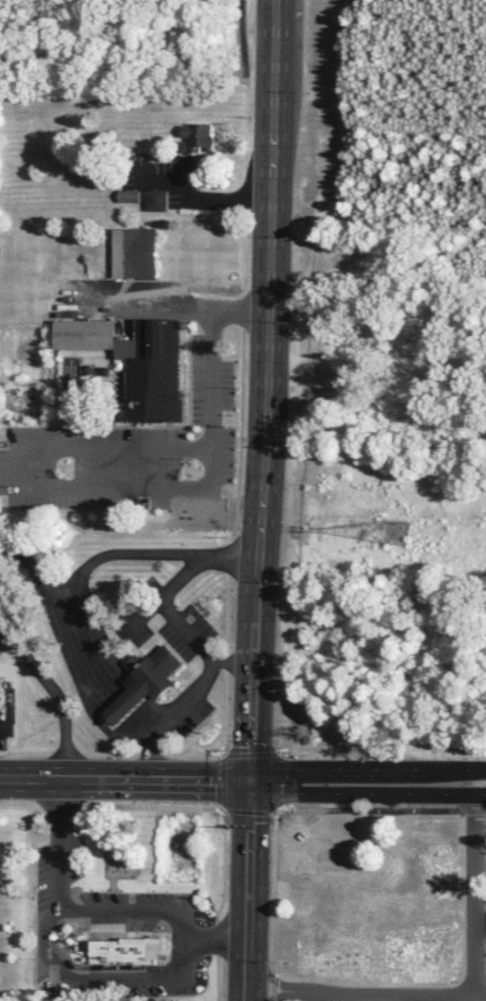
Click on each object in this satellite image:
road: (240, 31)
road: (270, 98)
building: (196, 139)
road: (196, 194)
building: (130, 195)
building: (157, 199)
building: (133, 250)
road: (148, 301)
road: (241, 308)
road: (241, 318)
building: (84, 334)
building: (152, 367)
road: (239, 433)
road: (36, 444)
road: (260, 489)
power tower: (385, 531)
road: (118, 551)
road: (229, 556)
road: (165, 608)
road: (227, 614)
road: (143, 615)
road: (81, 645)
road: (226, 662)
building: (147, 682)
building: (0, 690)
road: (56, 694)
road: (183, 701)
road: (124, 707)
road: (225, 714)
road: (142, 724)
road: (3, 725)
road: (127, 755)
road: (277, 771)
road: (369, 777)
road: (126, 782)
traffic signals: (253, 783)
road: (222, 785)
road: (369, 792)
road: (126, 812)
road: (368, 812)
road: (58, 844)
road: (250, 891)
road: (273, 891)
road: (473, 900)
road: (218, 907)
road: (70, 935)
road: (217, 940)
building: (119, 948)
road: (65, 960)
road: (174, 975)
road: (272, 978)
road: (272, 984)
road: (279, 995)
road: (313, 996)
road: (360, 997)

